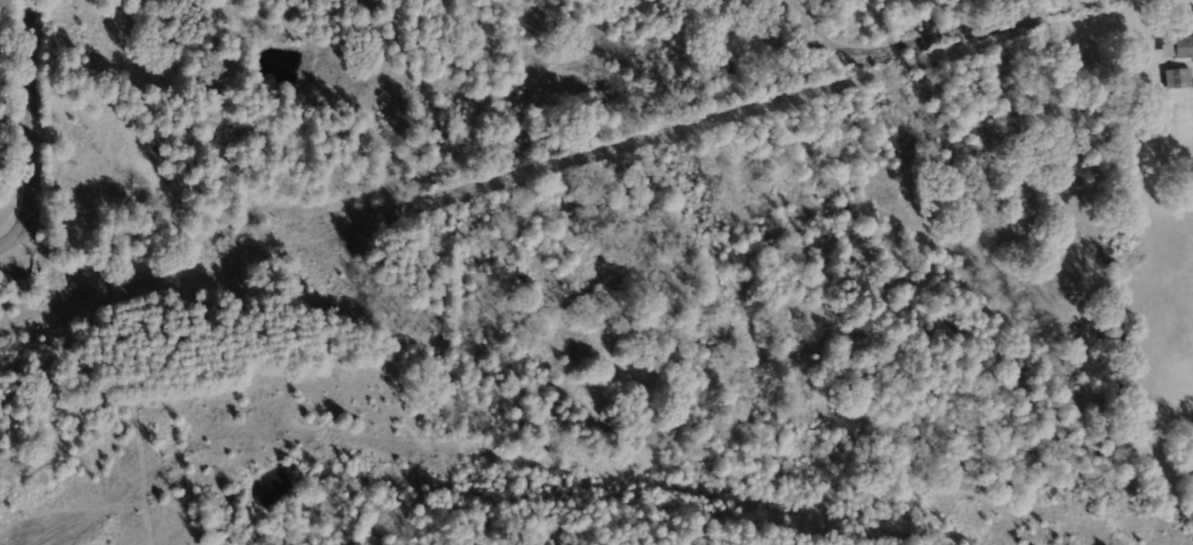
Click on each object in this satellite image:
road: (921, 43)
building: (1183, 47)
building: (1179, 78)
road: (40, 133)

